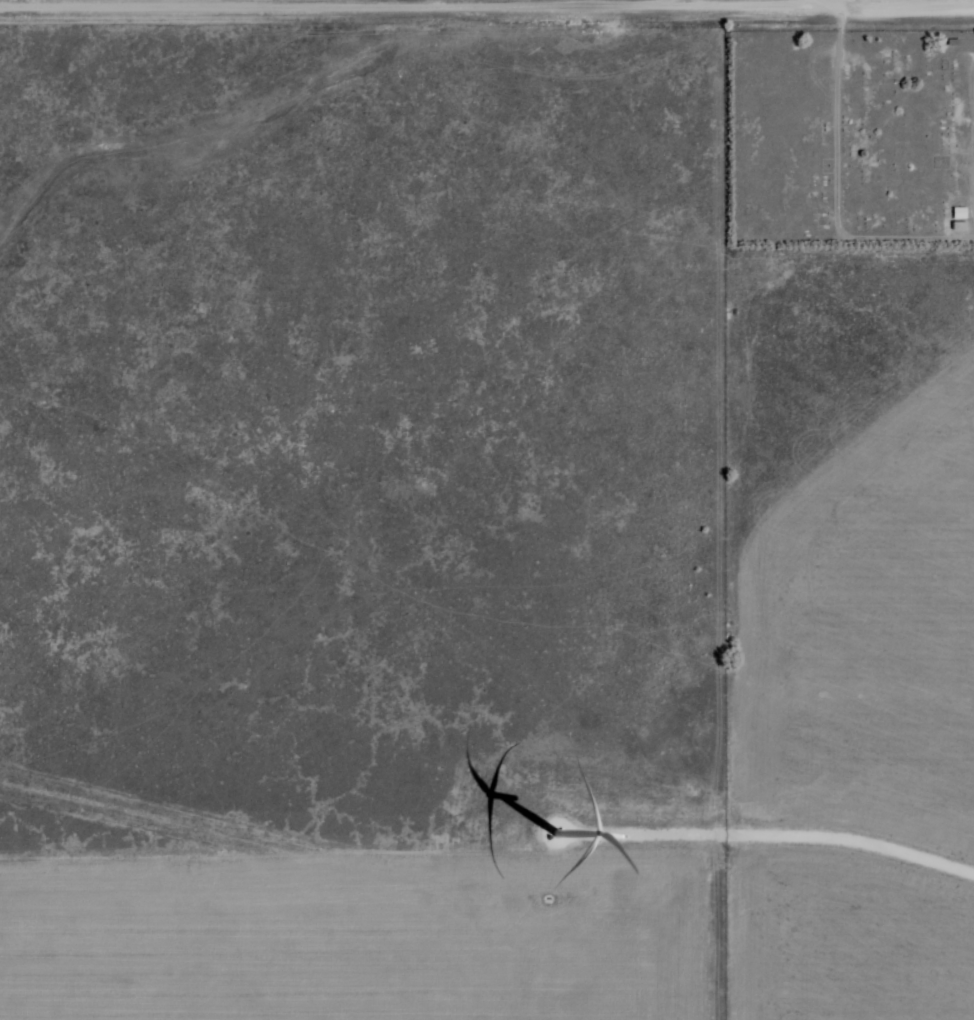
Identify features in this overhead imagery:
road: (840, 3)
road: (910, 6)
road: (423, 7)
park: (850, 137)
wind turbine: (553, 834)

